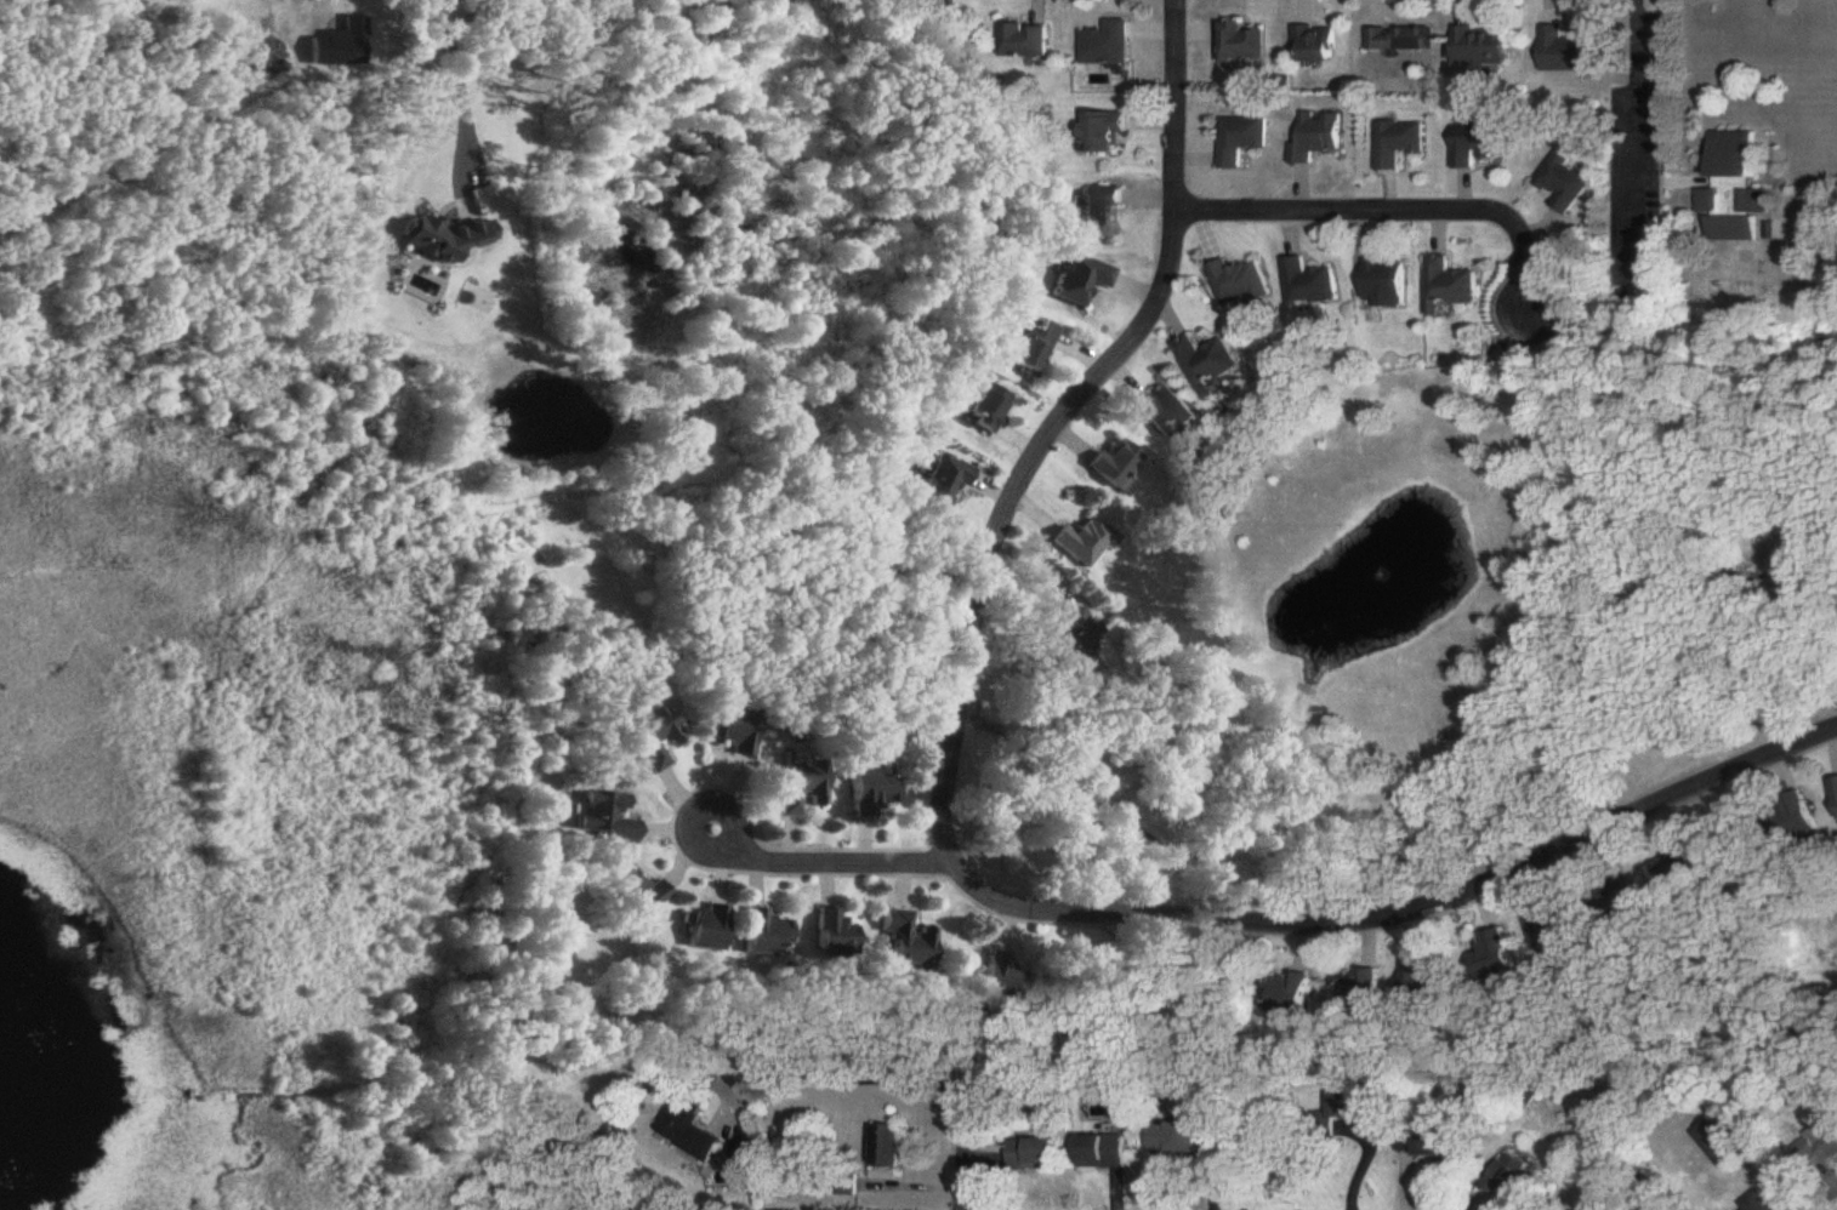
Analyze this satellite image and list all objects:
building: (1400, 40)
building: (1025, 41)
building: (1107, 45)
building: (1240, 45)
building: (1315, 45)
building: (1481, 46)
building: (1569, 52)
road: (459, 87)
building: (1108, 133)
road: (1634, 136)
building: (1315, 137)
building: (1240, 139)
building: (1397, 144)
building: (1475, 144)
building: (1564, 184)
building: (1735, 190)
building: (1099, 210)
road: (1403, 212)
building: (1082, 280)
building: (1240, 284)
building: (1310, 284)
building: (1386, 285)
building: (1451, 286)
building: (1035, 350)
building: (1208, 364)
building: (989, 409)
building: (1167, 412)
building: (1116, 466)
building: (944, 483)
building: (1086, 542)
building: (1077, 641)
building: (736, 729)
building: (653, 736)
building: (1836, 784)
building: (802, 788)
building: (872, 793)
building: (1126, 809)
building: (607, 816)
building: (1798, 817)
road: (813, 864)
building: (1682, 867)
road: (956, 869)
building: (638, 896)
building: (707, 930)
building: (835, 932)
building: (768, 935)
building: (1557, 936)
building: (909, 944)
building: (1497, 955)
building: (1006, 980)
building: (1427, 982)
building: (1360, 992)
building: (1290, 993)
road: (919, 1075)
building: (1358, 1105)
building: (689, 1128)
building: (1176, 1138)
building: (1724, 1141)
building: (1429, 1142)
building: (888, 1147)
building: (1819, 1147)
building: (1104, 1152)
building: (1035, 1154)
building: (1513, 1178)
building: (1761, 1203)

